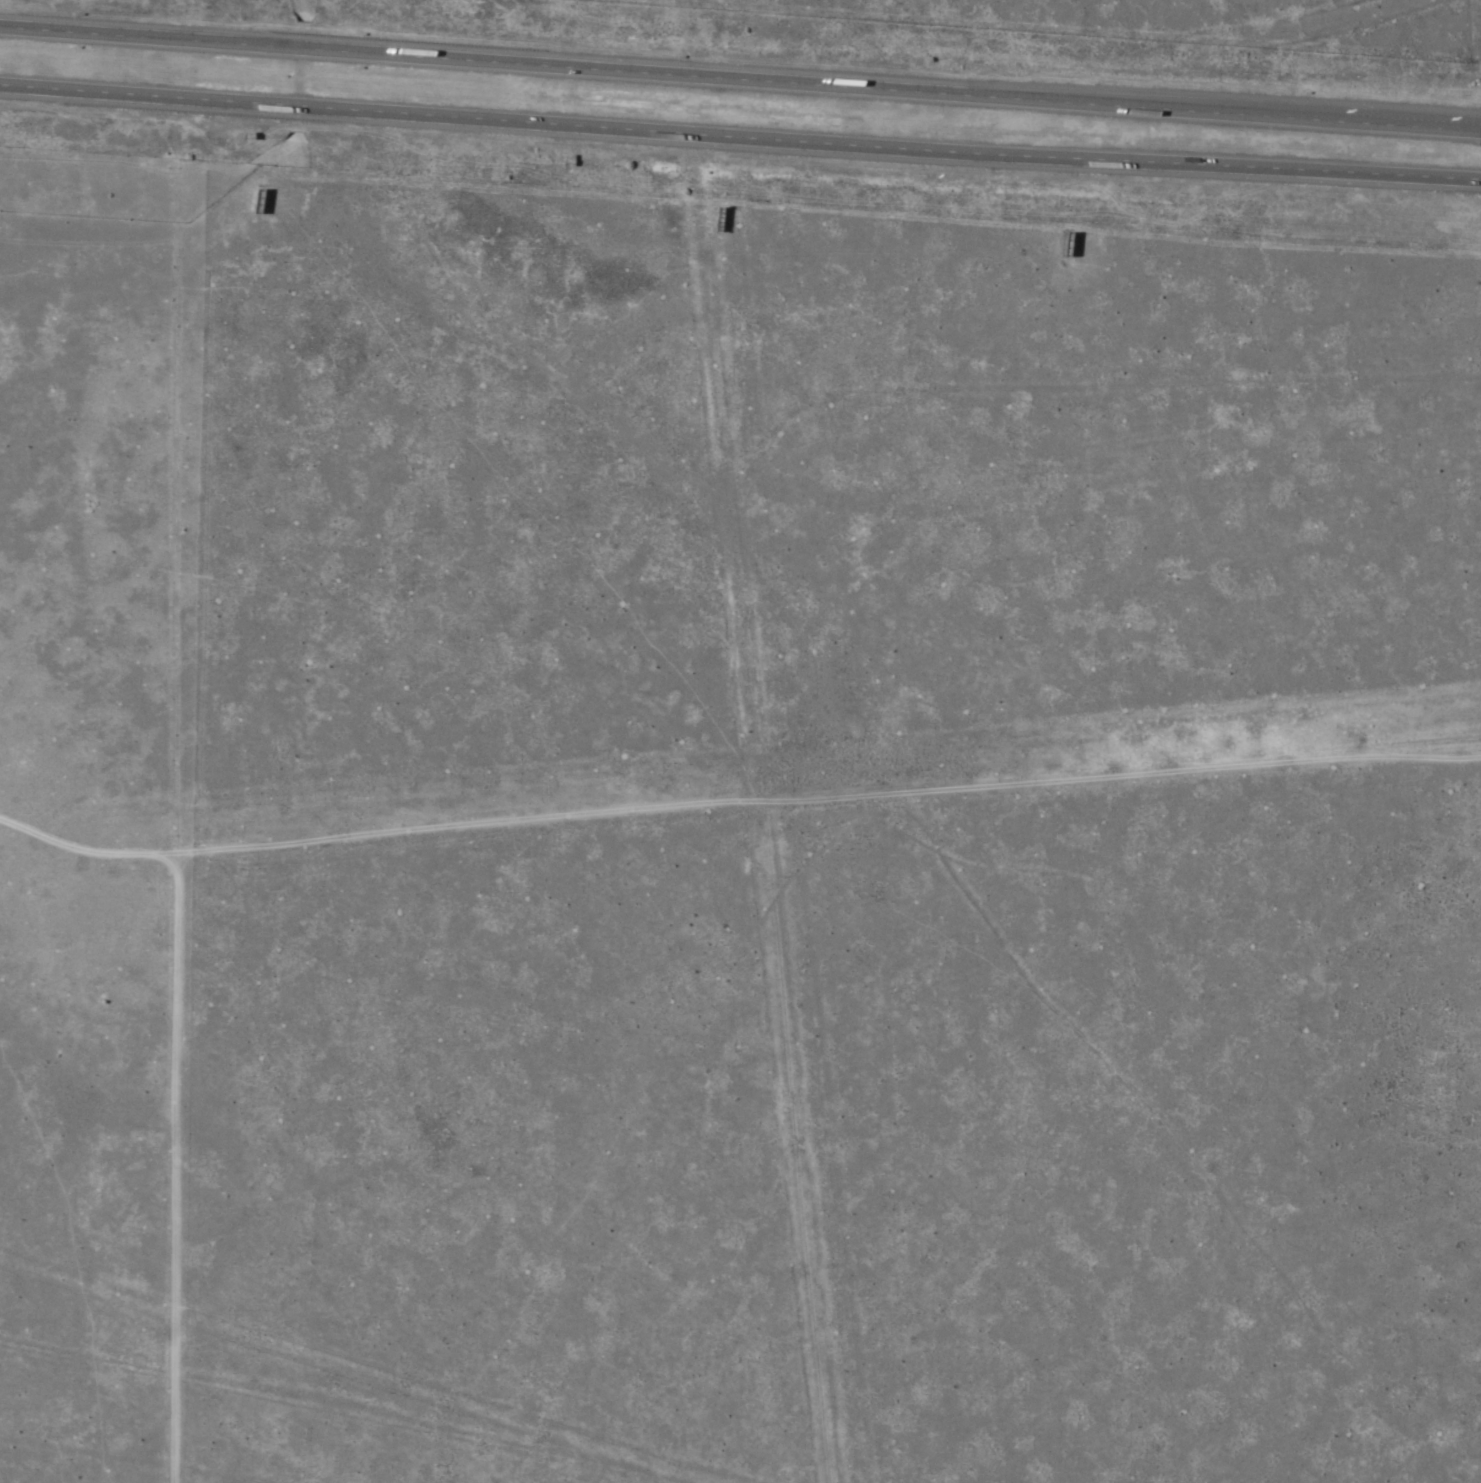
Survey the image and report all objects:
road: (740, 81)
road: (740, 139)
road: (736, 802)

